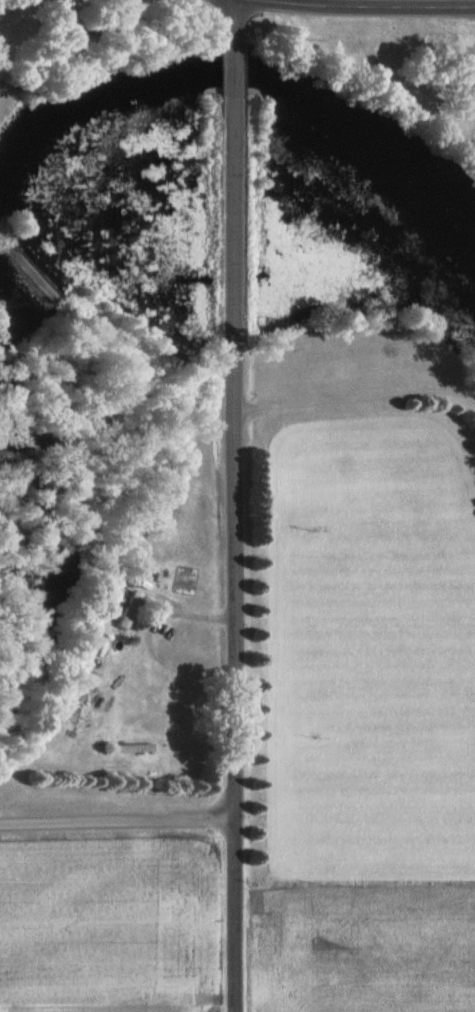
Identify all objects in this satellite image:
road: (353, 6)
road: (220, 23)
road: (221, 67)
building: (462, 74)
river: (254, 82)
road: (221, 550)
building: (126, 613)
building: (130, 750)
road: (111, 822)

